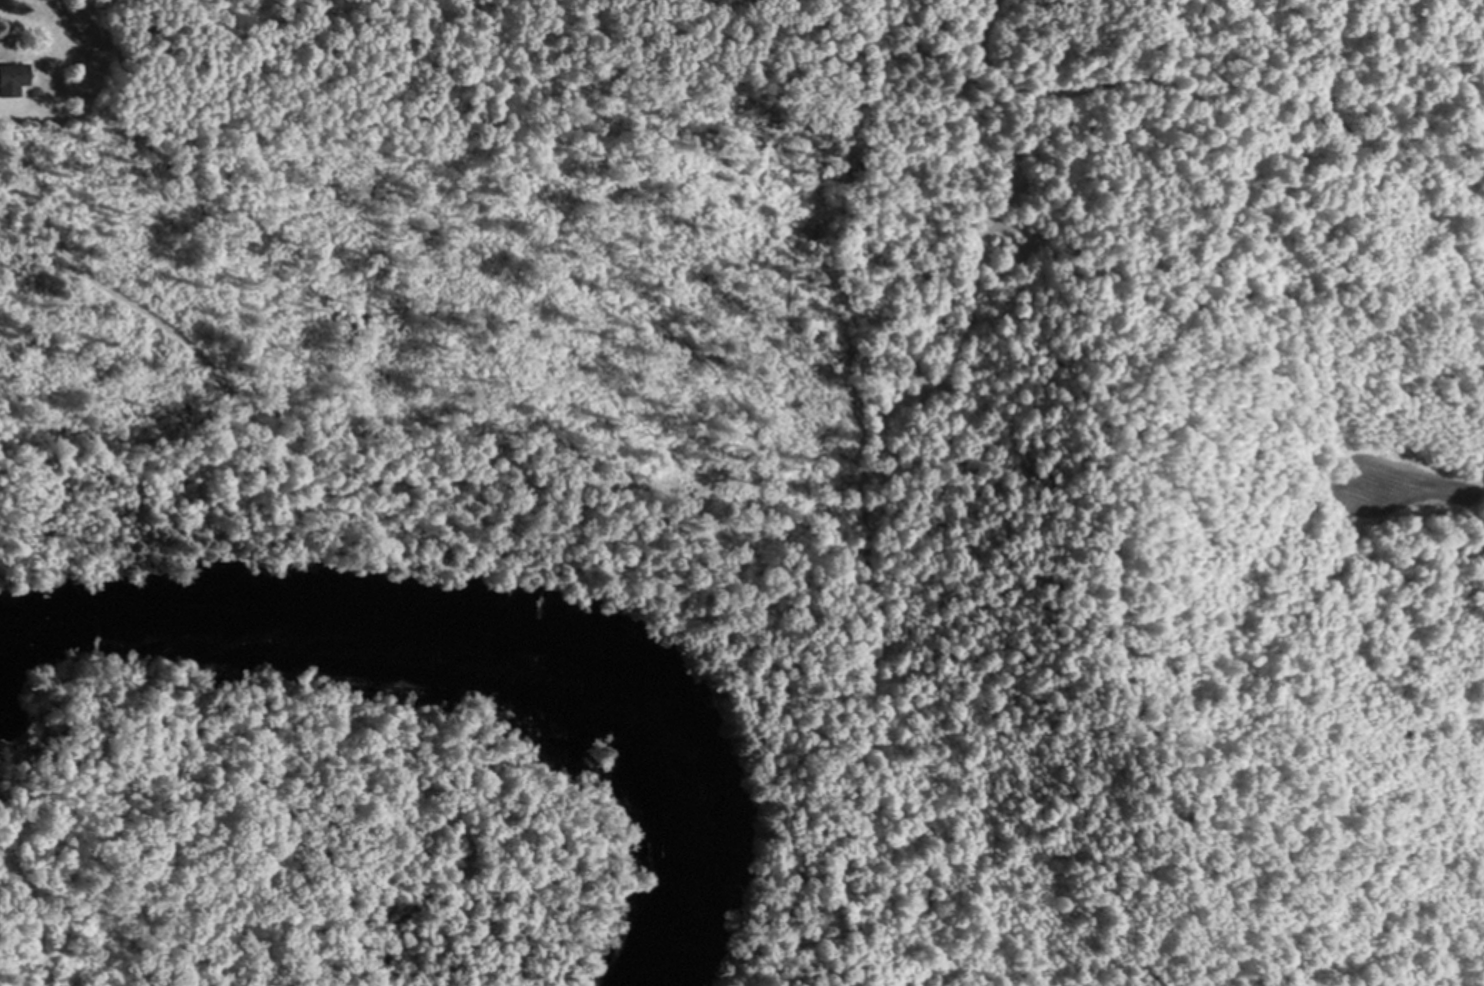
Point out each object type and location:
building: (13, 79)
river: (476, 639)

